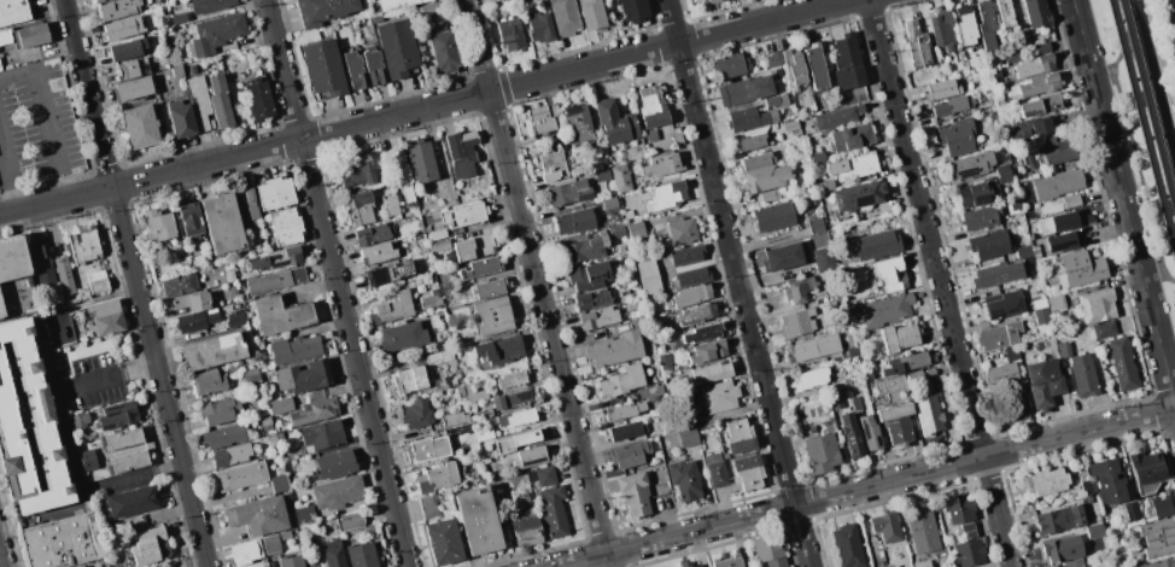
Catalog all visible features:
building: (97, 0)
building: (100, 0)
building: (498, 0)
building: (712, 1)
building: (398, 4)
building: (209, 5)
building: (118, 8)
building: (323, 10)
building: (632, 10)
building: (13, 12)
building: (1005, 12)
building: (1036, 12)
building: (591, 14)
building: (565, 16)
building: (180, 17)
building: (376, 18)
building: (965, 25)
building: (987, 25)
building: (539, 27)
building: (119, 28)
building: (221, 29)
building: (942, 30)
building: (510, 34)
building: (31, 35)
building: (5, 36)
building: (918, 45)
building: (397, 47)
building: (1042, 47)
building: (444, 48)
building: (125, 49)
road: (40, 51)
building: (1030, 51)
building: (777, 58)
building: (770, 60)
building: (847, 63)
building: (730, 65)
building: (1034, 65)
building: (0, 66)
building: (374, 66)
building: (325, 68)
building: (793, 68)
building: (816, 68)
building: (128, 69)
building: (355, 70)
building: (996, 74)
road: (1154, 74)
building: (1040, 84)
building: (133, 88)
building: (942, 88)
building: (744, 90)
building: (999, 98)
building: (199, 100)
building: (778, 100)
building: (220, 101)
building: (261, 101)
building: (952, 105)
building: (1041, 105)
railway: (1147, 105)
building: (653, 106)
road: (422, 107)
park: (1145, 113)
building: (838, 117)
building: (579, 118)
building: (539, 119)
building: (752, 119)
building: (49, 121)
building: (182, 121)
building: (615, 122)
building: (214, 123)
railway: (1142, 124)
building: (140, 127)
building: (790, 127)
building: (1029, 129)
building: (651, 135)
building: (852, 136)
building: (957, 136)
parking lot: (13, 140)
building: (750, 142)
building: (1058, 151)
building: (461, 152)
building: (817, 157)
building: (420, 160)
building: (443, 162)
building: (601, 162)
building: (662, 164)
building: (857, 165)
building: (553, 166)
building: (966, 168)
road: (10, 171)
building: (357, 173)
building: (762, 173)
building: (601, 174)
building: (1004, 174)
building: (403, 175)
building: (449, 175)
building: (440, 176)
building: (621, 177)
building: (825, 182)
building: (1057, 183)
building: (276, 192)
building: (569, 192)
building: (770, 194)
building: (975, 194)
building: (445, 195)
building: (666, 195)
building: (858, 195)
building: (812, 198)
building: (1071, 198)
building: (609, 201)
road: (1123, 203)
building: (247, 204)
building: (393, 206)
building: (359, 207)
building: (1004, 207)
building: (629, 214)
building: (464, 215)
building: (772, 217)
building: (980, 218)
building: (189, 220)
building: (435, 220)
building: (1016, 220)
building: (1068, 220)
building: (575, 221)
building: (222, 223)
building: (816, 224)
building: (158, 226)
building: (286, 227)
building: (428, 229)
building: (636, 230)
building: (682, 230)
building: (616, 232)
building: (372, 233)
building: (437, 235)
building: (1031, 235)
building: (1063, 241)
building: (988, 244)
building: (83, 245)
building: (438, 245)
building: (876, 245)
building: (473, 246)
building: (586, 247)
building: (42, 251)
building: (378, 252)
road: (730, 252)
building: (785, 253)
building: (185, 255)
building: (686, 255)
building: (822, 255)
building: (847, 255)
building: (12, 259)
building: (276, 259)
building: (1029, 267)
building: (480, 268)
building: (1082, 268)
building: (45, 273)
building: (892, 274)
building: (996, 274)
building: (229, 275)
building: (380, 276)
building: (587, 276)
building: (648, 276)
building: (692, 276)
building: (275, 281)
building: (98, 282)
road: (537, 282)
road: (134, 283)
road: (335, 283)
building: (636, 283)
road: (940, 283)
building: (69, 285)
building: (180, 285)
building: (489, 288)
building: (799, 290)
building: (234, 292)
building: (691, 294)
building: (847, 294)
building: (592, 299)
building: (193, 302)
building: (431, 302)
building: (1056, 302)
building: (632, 304)
building: (1004, 304)
building: (1097, 305)
building: (393, 309)
building: (1040, 310)
building: (1, 311)
building: (887, 311)
building: (249, 314)
building: (697, 314)
building: (280, 315)
building: (493, 316)
building: (107, 317)
building: (234, 318)
building: (598, 318)
building: (195, 321)
building: (797, 322)
building: (841, 322)
building: (1104, 329)
building: (700, 332)
building: (1001, 334)
building: (403, 337)
building: (899, 338)
building: (258, 345)
building: (443, 346)
building: (814, 347)
building: (614, 349)
building: (1064, 349)
building: (294, 350)
building: (499, 350)
building: (708, 350)
building: (853, 350)
building: (214, 351)
building: (1011, 353)
building: (448, 355)
building: (433, 357)
building: (664, 362)
building: (905, 363)
building: (1123, 363)
building: (709, 373)
building: (867, 373)
building: (1083, 374)
building: (1004, 375)
building: (252, 378)
building: (300, 378)
building: (811, 378)
building: (914, 378)
building: (411, 379)
building: (511, 379)
road: (101, 380)
building: (622, 380)
building: (207, 382)
building: (1042, 382)
building: (842, 384)
building: (460, 391)
building: (484, 392)
building: (653, 392)
building: (719, 396)
building: (511, 398)
building: (836, 402)
building: (854, 403)
road: (24, 404)
building: (304, 409)
building: (626, 410)
building: (218, 411)
building: (1012, 411)
building: (119, 414)
building: (415, 414)
building: (483, 414)
building: (929, 415)
building: (452, 417)
building: (468, 417)
building: (516, 417)
building: (683, 419)
building: (81, 420)
building: (264, 421)
building: (896, 423)
building: (29, 427)
building: (629, 429)
building: (812, 429)
building: (869, 433)
building: (322, 434)
building: (463, 434)
building: (738, 434)
building: (850, 434)
building: (224, 436)
building: (484, 436)
building: (521, 437)
building: (682, 437)
building: (271, 440)
building: (429, 449)
building: (145, 451)
building: (819, 452)
building: (230, 454)
building: (629, 455)
building: (531, 457)
building: (87, 460)
building: (335, 463)
building: (290, 466)
building: (279, 469)
building: (717, 469)
building: (1146, 470)
building: (748, 472)
building: (315, 475)
building: (545, 475)
building: (240, 477)
building: (438, 477)
building: (685, 479)
building: (1107, 480)
building: (1046, 481)
building: (280, 484)
road: (865, 487)
building: (1076, 489)
building: (338, 492)
building: (635, 493)
building: (524, 498)
building: (130, 501)
building: (1087, 502)
building: (1162, 505)
building: (428, 507)
building: (959, 507)
building: (555, 512)
building: (1130, 512)
building: (258, 514)
building: (305, 514)
building: (292, 519)
building: (477, 520)
building: (1054, 521)
building: (352, 522)
building: (887, 526)
building: (922, 527)
building: (308, 530)
building: (526, 530)
building: (969, 530)
building: (1094, 531)
building: (285, 536)
road: (802, 536)
building: (1157, 538)
building: (64, 542)
building: (443, 542)
building: (270, 543)
building: (147, 545)
building: (848, 545)
building: (1062, 549)
building: (770, 550)
building: (244, 551)
building: (966, 551)
building: (334, 554)
building: (361, 555)
building: (291, 561)
building: (314, 561)
road: (192, 562)
building: (727, 562)
parking lot: (176, 563)
building: (920, 563)
building: (1075, 563)
building: (1159, 563)
building: (690, 565)
building: (894, 566)

